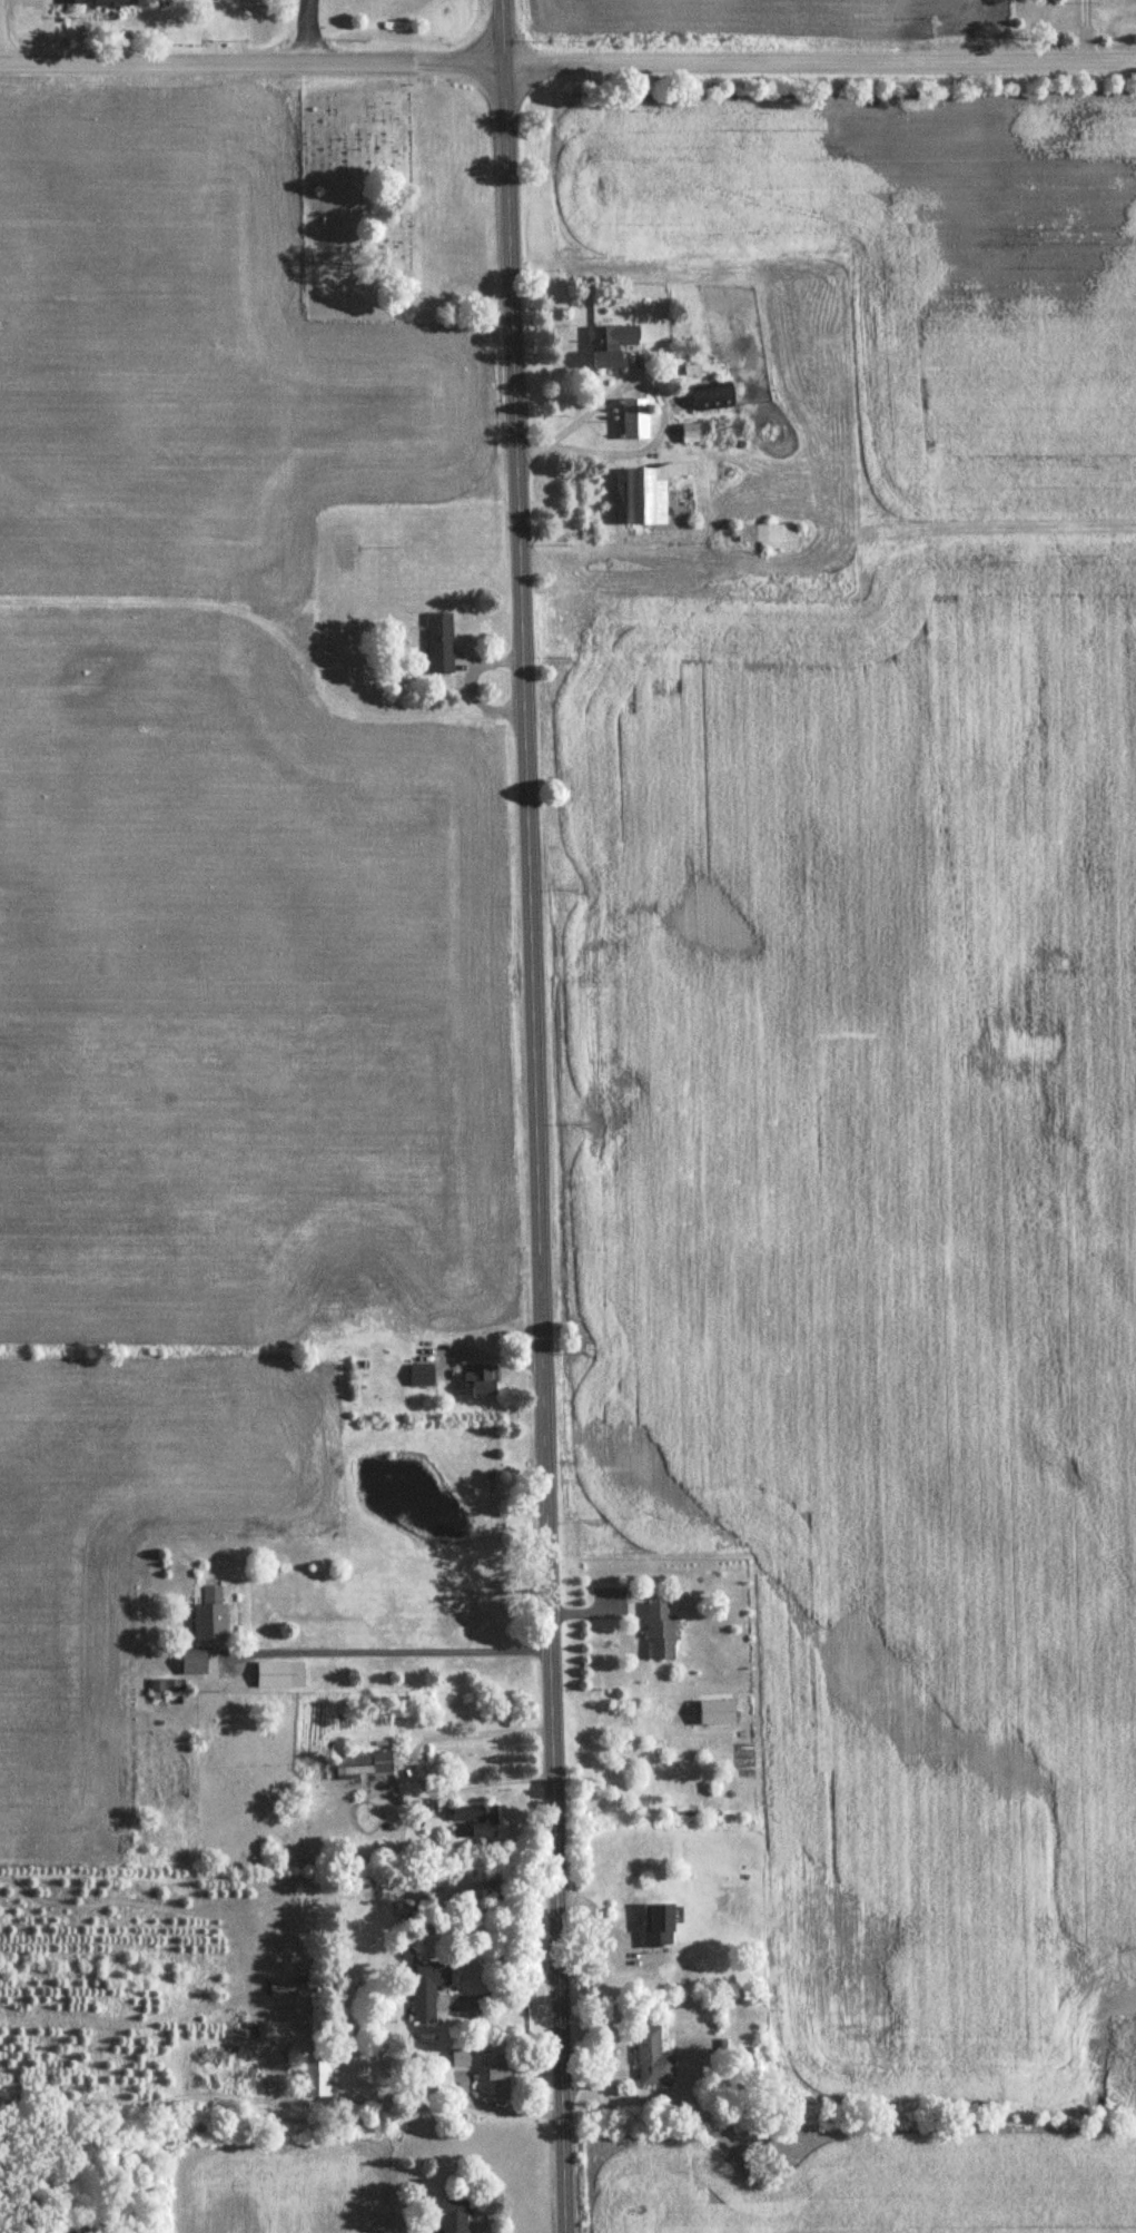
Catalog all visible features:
building: (102, 3)
road: (1086, 28)
road: (308, 33)
road: (567, 63)
park: (349, 198)
building: (611, 346)
road: (648, 390)
building: (712, 399)
building: (633, 421)
building: (689, 435)
building: (648, 493)
building: (770, 538)
building: (441, 645)
road: (527, 1116)
building: (423, 1375)
building: (481, 1380)
building: (210, 1623)
building: (660, 1633)
road: (393, 1649)
building: (194, 1663)
building: (279, 1676)
building: (158, 1689)
road: (413, 1760)
building: (364, 1765)
building: (477, 1820)
building: (658, 1927)
road: (501, 1985)
building: (426, 1989)
building: (652, 2060)
building: (316, 2078)
building: (497, 2079)
road: (441, 2094)
building: (453, 2217)

